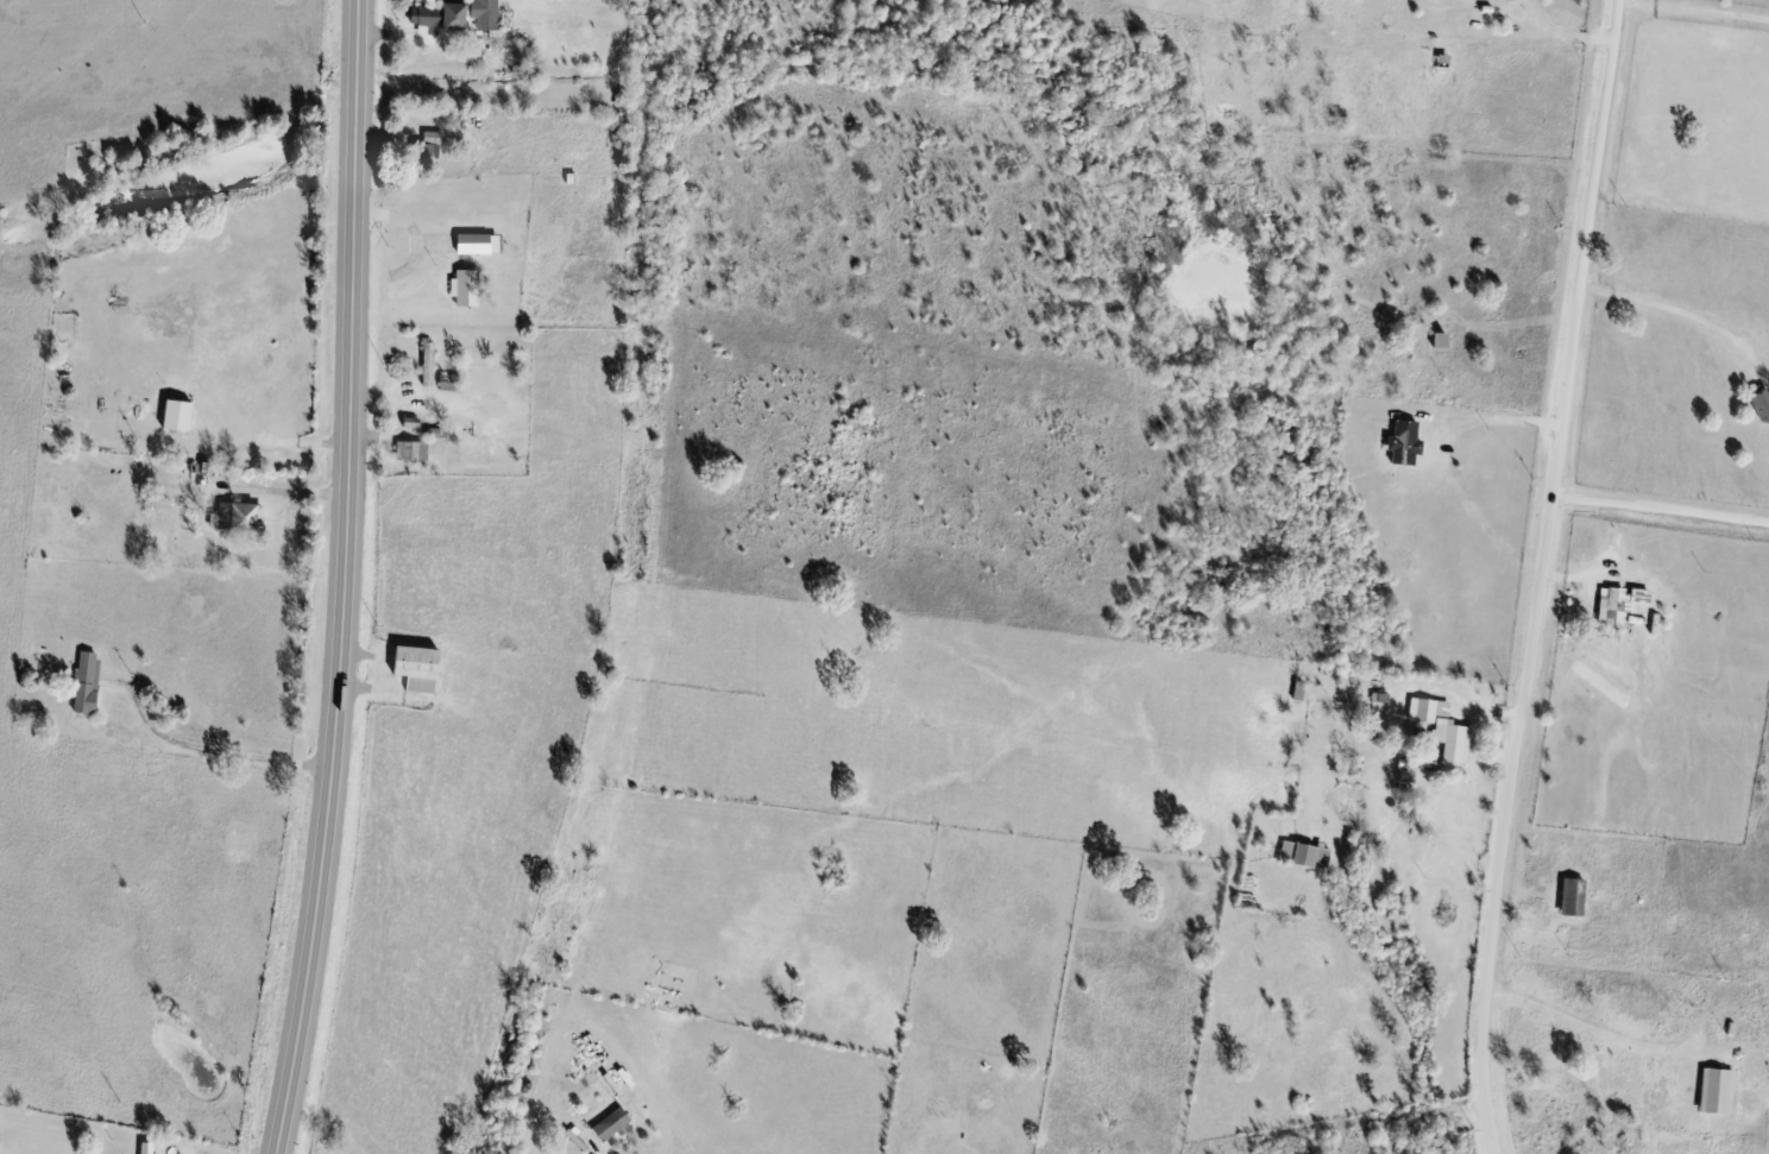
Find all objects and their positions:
building: (1441, 65)
building: (480, 246)
building: (468, 290)
building: (452, 385)
building: (1761, 405)
building: (182, 417)
building: (1403, 444)
building: (415, 454)
road: (1660, 516)
road: (1542, 576)
road: (341, 579)
railway: (624, 586)
building: (1643, 611)
building: (422, 670)
building: (90, 685)
building: (1427, 711)
building: (1453, 745)
building: (1303, 856)
building: (1570, 898)
road: (1588, 1026)
building: (1714, 1092)
building: (616, 1127)
building: (151, 1149)

